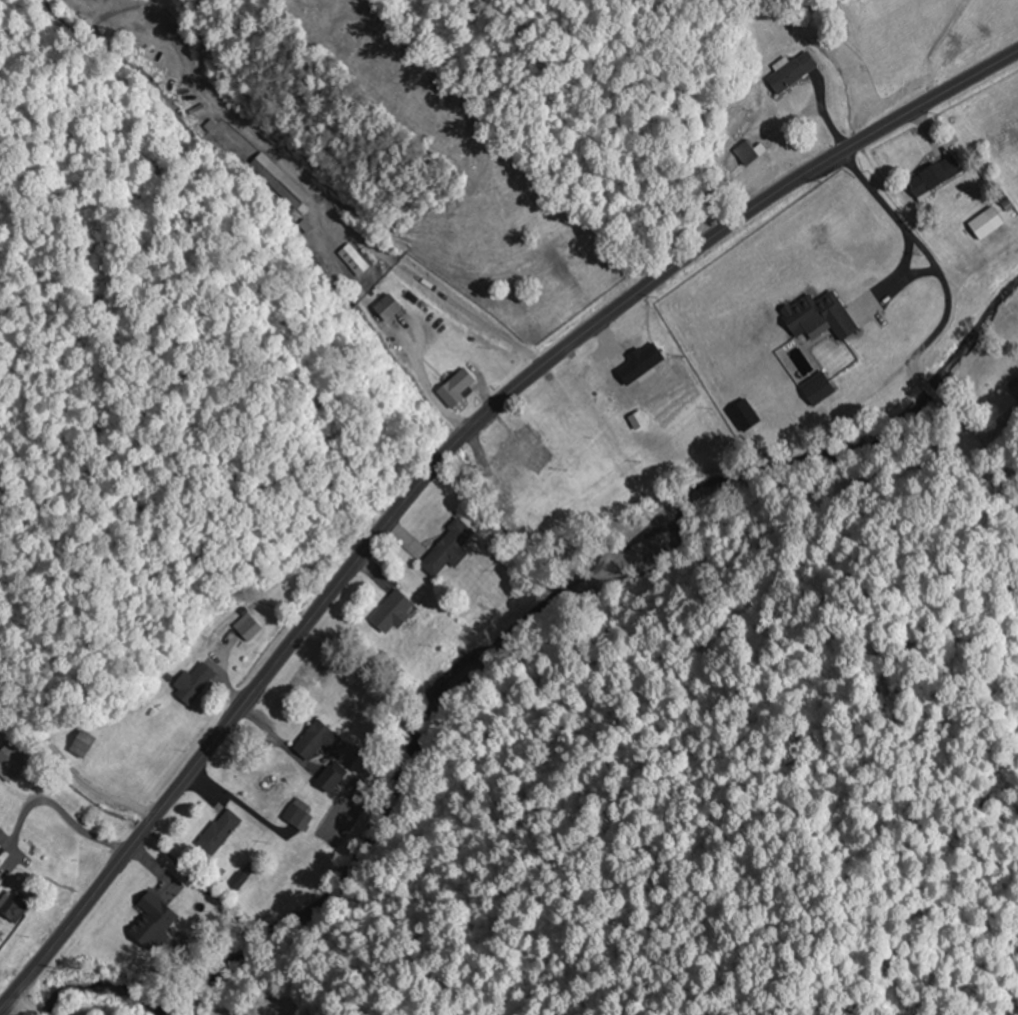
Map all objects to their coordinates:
building: (793, 70)
building: (756, 153)
building: (937, 176)
building: (279, 182)
building: (988, 223)
building: (354, 260)
building: (389, 307)
building: (821, 316)
building: (650, 357)
building: (820, 386)
building: (457, 387)
building: (1015, 389)
building: (746, 414)
building: (524, 441)
road: (443, 459)
building: (450, 549)
building: (395, 612)
building: (249, 627)
building: (194, 682)
building: (318, 739)
building: (85, 743)
road: (75, 766)
building: (334, 775)
building: (299, 813)
building: (221, 831)
building: (241, 880)
building: (1, 885)
building: (15, 907)
road: (25, 1001)
road: (42, 1012)

